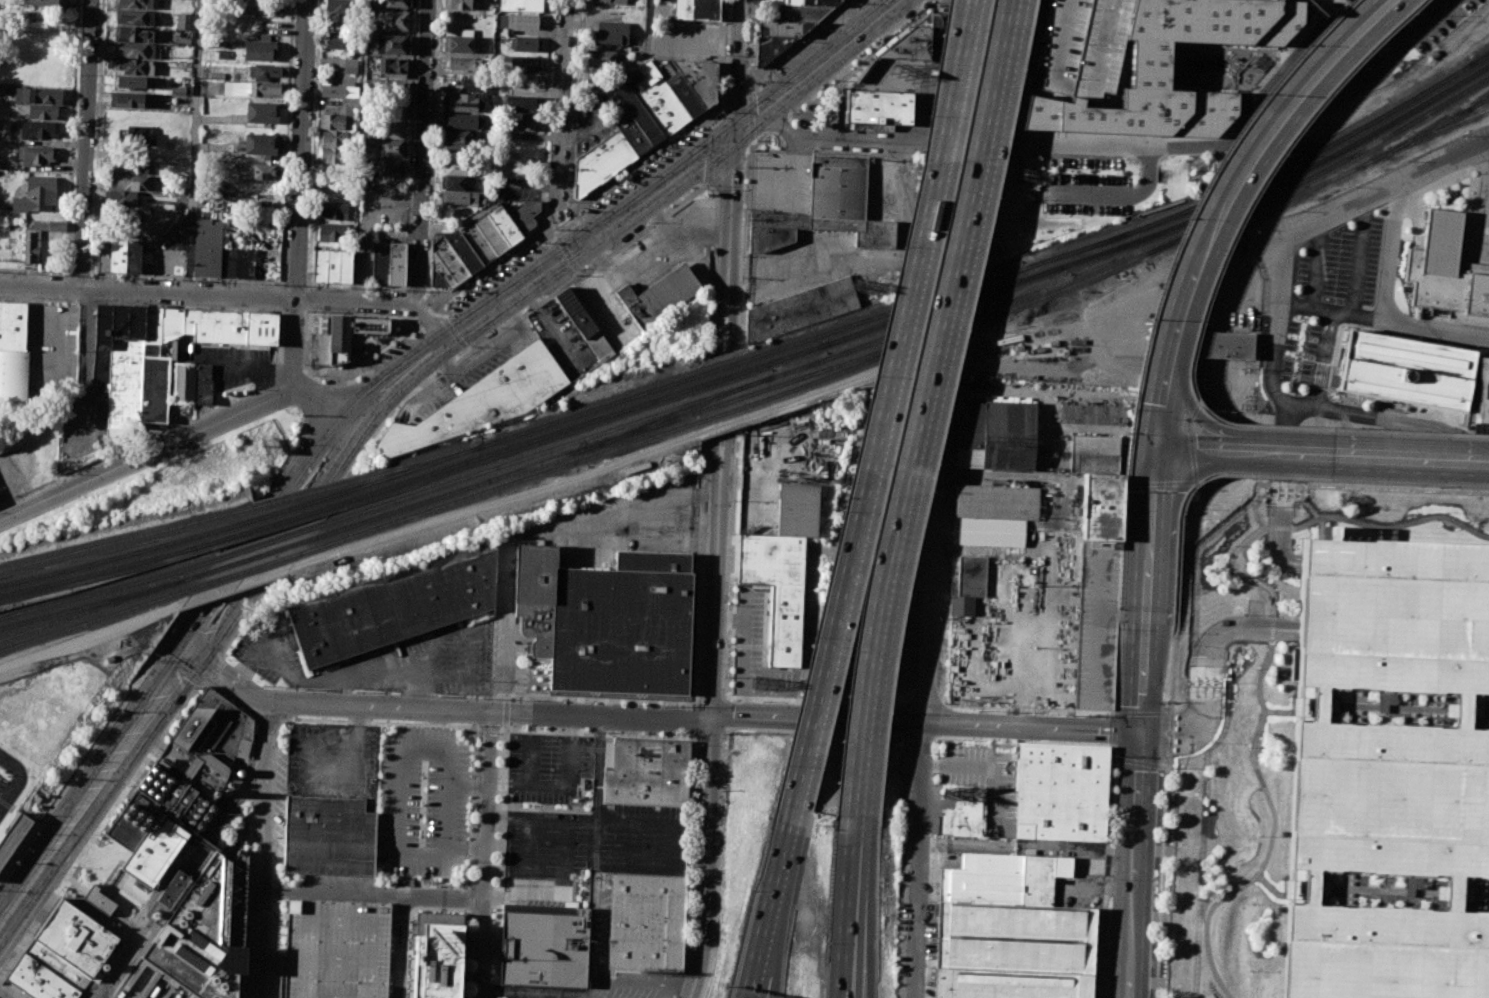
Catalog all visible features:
building: (775, 1)
building: (613, 2)
building: (824, 2)
street lamp: (925, 2)
building: (134, 3)
building: (398, 3)
building: (459, 3)
building: (43, 4)
street lamp: (860, 4)
building: (521, 5)
building: (261, 6)
building: (342, 7)
building: (695, 9)
building: (783, 11)
building: (811, 12)
street lamp: (1412, 13)
building: (134, 17)
building: (184, 20)
building: (394, 20)
building: (502, 21)
building: (524, 21)
street lamp: (1462, 21)
building: (786, 28)
building: (610, 33)
building: (132, 34)
building: (335, 41)
building: (460, 41)
building: (394, 44)
building: (526, 44)
building: (911, 44)
street lamp: (1306, 45)
building: (1080, 46)
parking lot: (1080, 46)
building: (773, 48)
road: (958, 49)
road: (962, 49)
building: (134, 50)
building: (259, 50)
street lamp: (1427, 51)
building: (600, 57)
railway: (1480, 58)
street lamp: (859, 59)
road: (860, 59)
building: (459, 63)
building: (523, 64)
road: (739, 65)
road: (819, 65)
building: (132, 66)
building: (349, 66)
road: (629, 66)
building: (392, 68)
building: (1148, 68)
building: (265, 71)
building: (216, 75)
building: (702, 78)
street lamp: (762, 80)
building: (133, 82)
building: (253, 89)
building: (340, 89)
building: (394, 90)
building: (177, 91)
building: (41, 94)
building: (688, 95)
building: (127, 99)
building: (465, 102)
building: (520, 104)
railway: (1473, 104)
building: (665, 106)
building: (877, 106)
railway: (1473, 106)
building: (38, 110)
building: (392, 110)
building: (262, 112)
street lamp: (789, 112)
building: (641, 115)
building: (831, 115)
building: (339, 117)
building: (461, 121)
road: (563, 121)
building: (524, 122)
road: (779, 123)
building: (34, 129)
building: (390, 129)
railway: (1434, 129)
building: (632, 132)
traffic signals: (738, 132)
building: (136, 136)
building: (337, 138)
building: (457, 140)
building: (260, 144)
road: (87, 146)
road: (1127, 146)
road: (193, 148)
street lamp: (815, 148)
building: (389, 149)
road: (746, 151)
road: (358, 152)
street lamp: (884, 152)
building: (38, 153)
road: (422, 153)
street lamp: (1283, 153)
building: (337, 155)
road: (1250, 155)
building: (603, 163)
building: (130, 165)
building: (457, 165)
street lamp: (745, 166)
building: (389, 168)
road: (727, 168)
building: (256, 172)
railway: (1318, 172)
flagpole: (1473, 173)
railway: (1262, 176)
road: (1488, 178)
railway: (1282, 179)
road: (1488, 180)
building: (128, 182)
building: (456, 182)
street lamp: (701, 184)
road: (653, 187)
railway: (1302, 191)
building: (35, 194)
road: (302, 195)
road: (1119, 196)
building: (120, 198)
building: (458, 199)
building: (332, 208)
building: (829, 209)
building: (530, 213)
street lamp: (1068, 216)
road: (1483, 218)
street lamp: (1186, 219)
parking lot: (1482, 221)
street lamp: (646, 222)
building: (508, 226)
road: (733, 227)
building: (330, 231)
road: (745, 231)
building: (37, 236)
building: (494, 236)
street lamp: (534, 240)
building: (480, 245)
building: (206, 247)
building: (465, 252)
road: (1391, 252)
building: (110, 255)
street lamp: (741, 255)
building: (133, 256)
road: (1358, 258)
parking lot: (1334, 259)
building: (237, 262)
building: (388, 264)
road: (1315, 264)
building: (331, 266)
building: (450, 266)
building: (1445, 267)
road: (1286, 268)
street lamp: (581, 269)
road: (712, 269)
road: (1165, 275)
building: (438, 279)
railway: (1059, 289)
street lamp: (462, 291)
road: (149, 295)
building: (659, 295)
road: (377, 305)
railway: (922, 306)
building: (799, 308)
road: (1202, 314)
road: (86, 321)
building: (170, 323)
railway: (917, 323)
street lamp: (1202, 323)
road: (1328, 323)
building: (13, 325)
building: (151, 325)
building: (318, 325)
building: (582, 325)
building: (215, 326)
road: (34, 327)
road: (456, 327)
street lamp: (497, 327)
building: (261, 328)
building: (354, 335)
road: (732, 335)
road: (719, 337)
street lamp: (739, 343)
building: (1221, 345)
street lamp: (305, 365)
building: (129, 367)
road: (1321, 370)
building: (1406, 371)
street lamp: (434, 373)
street lamp: (311, 375)
building: (13, 377)
railway: (682, 379)
road: (428, 381)
building: (192, 383)
railway: (778, 384)
railway: (699, 385)
street lamp: (250, 389)
building: (1483, 392)
road: (85, 394)
road: (1160, 396)
building: (482, 402)
road: (1196, 402)
road: (1308, 406)
street lamp: (1131, 408)
road: (1191, 410)
road: (923, 411)
railway: (677, 413)
road: (1194, 414)
building: (1092, 415)
street lamp: (1183, 420)
road: (1186, 423)
street lamp: (1338, 427)
street lamp: (165, 431)
building: (994, 436)
railway: (642, 439)
road: (176, 446)
street lamp: (367, 447)
traffic signals: (1155, 448)
railway: (547, 449)
road: (1205, 450)
building: (1094, 453)
road: (873, 454)
road: (1372, 456)
road: (726, 460)
road: (714, 463)
railway: (414, 464)
street lamp: (71, 473)
road: (1276, 477)
street lamp: (1251, 478)
road: (1187, 483)
road: (1127, 484)
road: (1195, 484)
street lamp: (1420, 486)
railway: (448, 492)
road: (1280, 492)
railway: (301, 494)
railway: (290, 507)
building: (1101, 507)
building: (797, 509)
building: (994, 512)
street lamp: (1182, 512)
railway: (280, 521)
road: (1278, 527)
road: (1151, 528)
road: (1392, 528)
building: (1331, 532)
road: (267, 536)
railway: (126, 538)
road: (533, 538)
railway: (268, 541)
railway: (258, 555)
railway: (118, 556)
railway: (112, 568)
railway: (250, 568)
road: (1239, 573)
building: (534, 574)
road: (698, 574)
building: (967, 586)
railway: (106, 590)
road: (716, 601)
building: (768, 601)
railway: (91, 605)
railway: (101, 605)
building: (395, 605)
road: (1022, 608)
railway: (96, 618)
building: (622, 625)
building: (536, 626)
road: (1272, 627)
parking lot: (1097, 628)
street lamp: (1118, 629)
street lamp: (1176, 632)
road: (925, 644)
road: (1197, 651)
road: (728, 654)
parking lot: (377, 658)
street lamp: (228, 659)
road: (1118, 659)
street lamp: (155, 660)
road: (1173, 660)
road: (212, 667)
road: (1145, 669)
road: (1217, 688)
street lamp: (193, 690)
road: (725, 696)
road: (229, 699)
road: (600, 699)
road: (711, 700)
street lamp: (1167, 701)
road: (1201, 704)
road: (925, 705)
road: (443, 709)
road: (1030, 709)
road: (505, 711)
road: (1116, 712)
road: (1143, 713)
road: (1113, 714)
road: (273, 718)
road: (1208, 718)
road: (693, 721)
road: (928, 721)
road: (462, 726)
road: (477, 727)
road: (489, 728)
road: (1113, 729)
road: (813, 731)
road: (710, 732)
road: (135, 733)
road: (597, 733)
road: (1170, 733)
road: (918, 735)
road: (1024, 741)
road: (1111, 754)
parking lot: (333, 762)
road: (1138, 762)
road: (1168, 762)
road: (983, 764)
parking lot: (547, 767)
building: (647, 772)
building: (1390, 774)
road: (19, 781)
street lamp: (127, 786)
building: (179, 788)
building: (1061, 792)
parking lot: (421, 803)
building: (962, 819)
road: (100, 826)
road: (1271, 831)
building: (328, 836)
building: (14, 839)
parking lot: (595, 841)
street lamp: (26, 847)
road: (266, 850)
road: (485, 853)
road: (594, 856)
road: (706, 857)
road: (919, 859)
road: (498, 861)
road: (1137, 864)
road: (852, 865)
street lamp: (71, 866)
road: (687, 867)
road: (41, 869)
road: (1105, 878)
building: (1002, 879)
road: (1160, 879)
road: (1268, 885)
road: (374, 893)
road: (467, 899)
road: (773, 904)
building: (106, 906)
road: (931, 916)
building: (645, 922)
building: (200, 928)
building: (1014, 937)
building: (75, 938)
building: (335, 949)
parking garage: (335, 949)
building: (544, 949)
road: (843, 951)
road: (860, 951)
road: (465, 953)
building: (438, 961)
building: (57, 965)
street lamp: (0, 970)
building: (39, 980)
building: (1010, 983)
road: (761, 984)
building: (189, 995)
road: (860, 997)

